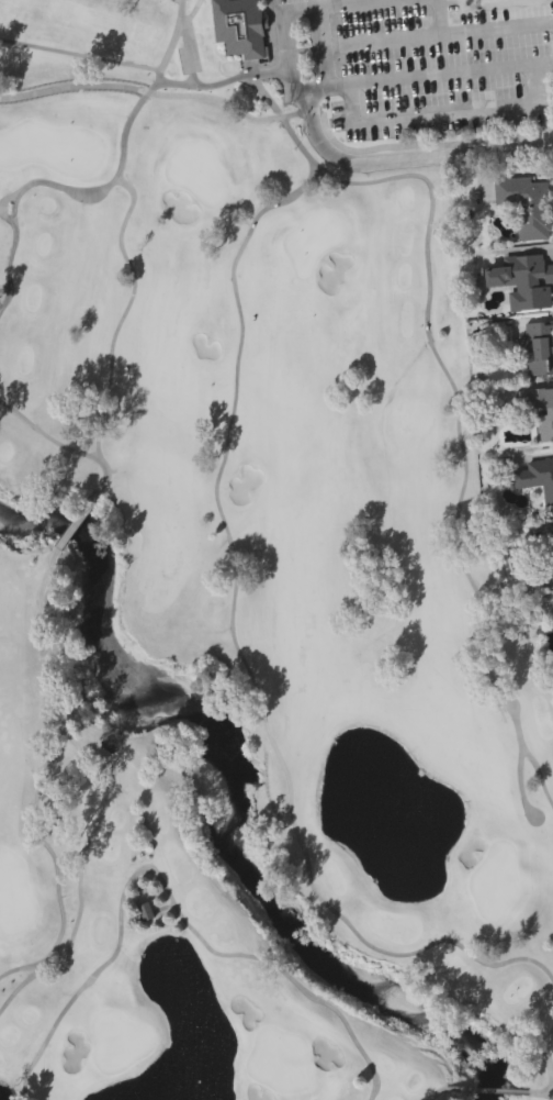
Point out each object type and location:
road: (359, 1)
road: (295, 9)
road: (335, 11)
road: (439, 18)
building: (238, 26)
road: (437, 35)
road: (440, 79)
road: (154, 96)
road: (444, 113)
road: (413, 156)
building: (527, 203)
building: (521, 280)
building: (539, 346)
building: (540, 408)
building: (542, 478)
building: (551, 544)
park: (257, 566)
building: (147, 914)

